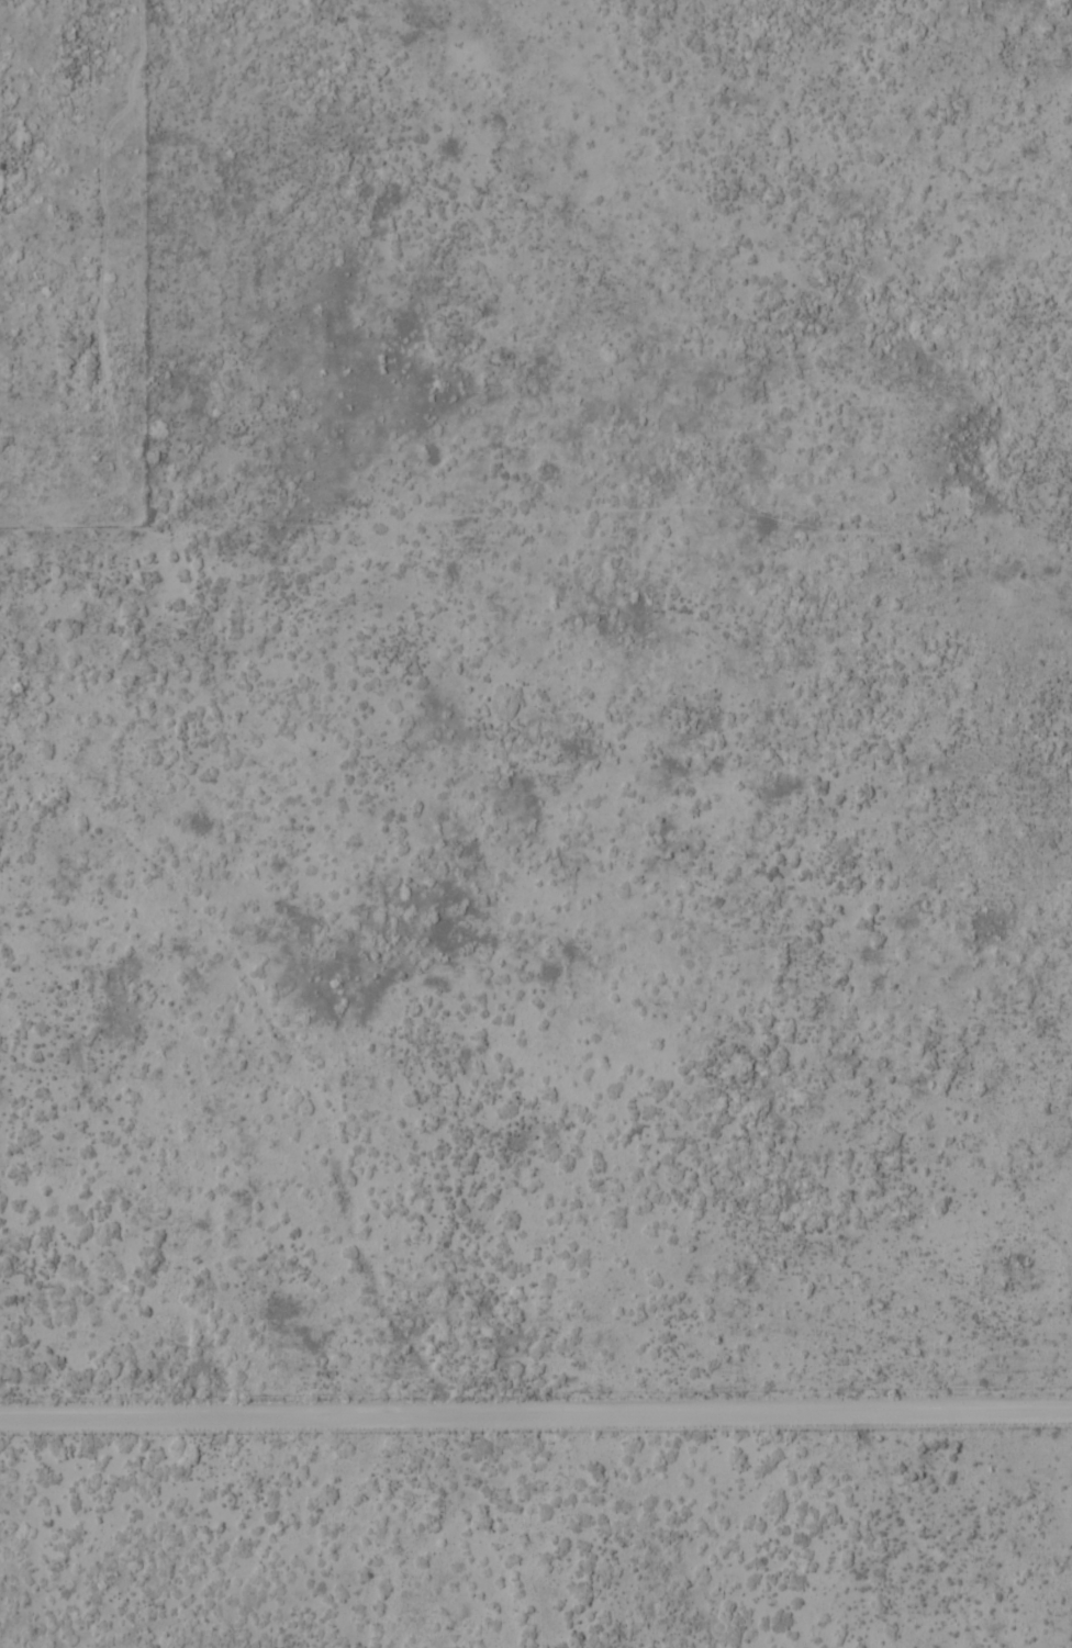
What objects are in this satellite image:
road: (536, 1415)
road: (902, 1535)

